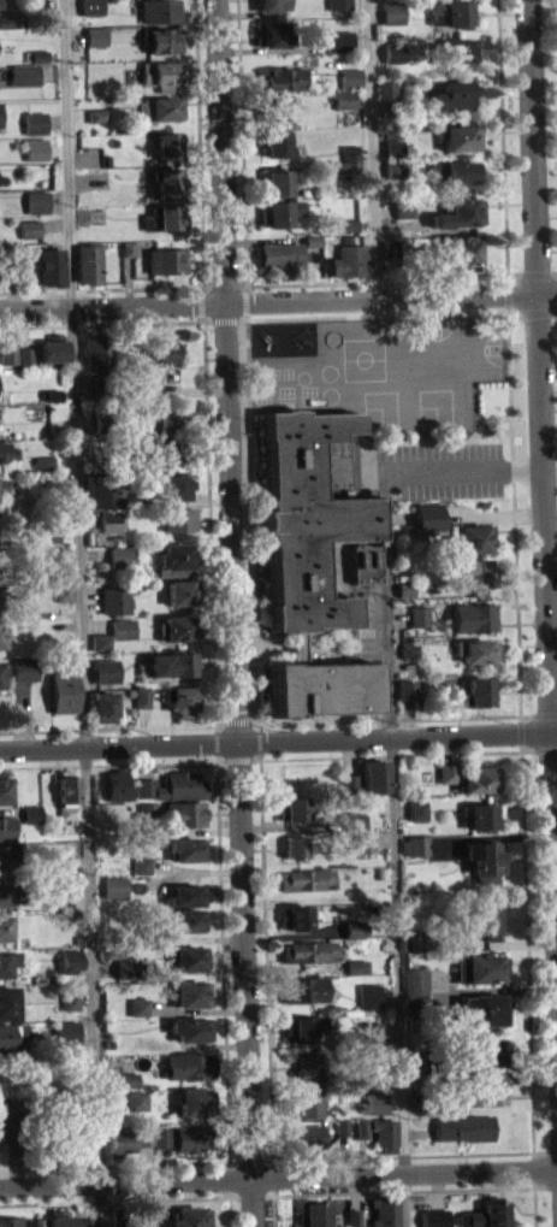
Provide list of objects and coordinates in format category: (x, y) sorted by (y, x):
building: (0, 4)
building: (267, 5)
building: (338, 5)
building: (90, 7)
building: (159, 11)
building: (391, 11)
building: (449, 12)
building: (5, 22)
building: (268, 34)
building: (95, 35)
building: (162, 40)
building: (338, 41)
building: (455, 49)
building: (392, 52)
building: (37, 55)
building: (37, 64)
building: (23, 73)
building: (159, 73)
building: (349, 77)
building: (278, 79)
building: (385, 88)
building: (450, 96)
building: (342, 98)
building: (269, 107)
building: (158, 108)
building: (96, 114)
building: (34, 122)
building: (95, 123)
building: (391, 131)
building: (457, 136)
building: (274, 143)
building: (167, 144)
road: (502, 144)
road: (371, 147)
building: (35, 148)
building: (391, 148)
road: (219, 149)
road: (239, 149)
building: (350, 157)
road: (197, 165)
building: (392, 169)
building: (455, 170)
building: (100, 178)
building: (275, 182)
building: (167, 183)
building: (36, 201)
building: (402, 207)
building: (275, 212)
building: (461, 212)
building: (402, 216)
building: (164, 218)
building: (346, 224)
building: (29, 228)
building: (348, 232)
building: (29, 236)
building: (309, 240)
building: (126, 248)
building: (387, 248)
building: (457, 252)
building: (13, 253)
building: (389, 256)
building: (278, 258)
building: (166, 260)
building: (348, 260)
building: (89, 264)
building: (51, 266)
road: (531, 276)
road: (375, 279)
road: (100, 289)
road: (390, 294)
road: (506, 302)
road: (111, 303)
road: (546, 311)
road: (200, 313)
road: (366, 317)
road: (100, 324)
building: (51, 348)
building: (166, 350)
building: (7, 353)
building: (24, 354)
building: (97, 354)
building: (7, 362)
building: (24, 364)
building: (150, 388)
building: (101, 389)
building: (49, 393)
building: (51, 402)
road: (484, 415)
building: (105, 420)
building: (166, 420)
road: (478, 420)
road: (438, 438)
building: (123, 446)
building: (6, 450)
road: (366, 452)
building: (170, 453)
building: (7, 461)
building: (42, 462)
building: (165, 462)
road: (460, 468)
parking lot: (411, 470)
road: (366, 471)
building: (43, 479)
building: (2, 484)
building: (174, 485)
building: (2, 492)
building: (101, 494)
road: (512, 500)
road: (540, 508)
building: (426, 518)
building: (179, 520)
road: (251, 520)
building: (109, 521)
road: (230, 521)
building: (48, 531)
road: (211, 531)
building: (468, 537)
building: (49, 544)
building: (119, 558)
building: (174, 558)
building: (48, 561)
building: (314, 561)
building: (470, 571)
building: (61, 589)
building: (403, 589)
building: (182, 594)
building: (403, 597)
building: (63, 600)
building: (114, 600)
road: (81, 613)
building: (417, 615)
building: (472, 617)
parking lot: (366, 623)
road: (385, 627)
building: (122, 629)
building: (179, 629)
building: (2, 633)
building: (101, 642)
building: (408, 650)
building: (474, 650)
building: (57, 657)
building: (408, 659)
building: (172, 665)
building: (23, 667)
building: (1, 669)
building: (106, 669)
building: (1, 683)
building: (404, 688)
building: (61, 690)
building: (476, 692)
building: (140, 696)
building: (180, 701)
building: (103, 707)
road: (551, 713)
road: (467, 716)
road: (324, 720)
road: (248, 722)
road: (107, 727)
road: (397, 736)
road: (118, 743)
road: (552, 749)
road: (534, 750)
road: (390, 755)
road: (249, 759)
road: (227, 760)
road: (107, 763)
building: (448, 773)
building: (373, 775)
building: (479, 779)
building: (348, 783)
building: (117, 785)
building: (171, 786)
building: (6, 790)
building: (67, 794)
building: (292, 809)
building: (416, 810)
building: (147, 812)
building: (31, 813)
building: (184, 813)
building: (480, 815)
building: (352, 820)
building: (30, 821)
building: (148, 824)
building: (5, 826)
building: (352, 828)
building: (361, 840)
building: (414, 844)
building: (297, 846)
building: (186, 848)
building: (6, 855)
building: (482, 860)
building: (141, 865)
building: (61, 866)
building: (141, 873)
building: (61, 877)
building: (304, 879)
building: (114, 886)
building: (61, 891)
building: (4, 893)
building: (185, 895)
building: (295, 916)
building: (189, 919)
building: (484, 919)
building: (4, 927)
building: (354, 928)
road: (527, 932)
building: (156, 933)
building: (410, 940)
road: (221, 942)
building: (309, 951)
building: (188, 957)
road: (244, 960)
building: (7, 961)
road: (397, 963)
building: (356, 966)
road: (266, 967)
building: (491, 967)
building: (69, 968)
building: (125, 968)
building: (356, 974)
building: (414, 980)
building: (307, 989)
building: (191, 993)
building: (368, 996)
building: (70, 999)
building: (5, 1002)
building: (415, 1003)
building: (138, 1005)
building: (70, 1009)
building: (482, 1009)
building: (189, 1027)
building: (302, 1027)
building: (66, 1030)
building: (369, 1032)
building: (8, 1036)
building: (67, 1040)
building: (484, 1051)
building: (188, 1064)
building: (306, 1066)
building: (130, 1080)
building: (497, 1083)
building: (129, 1087)
building: (479, 1098)
building: (136, 1099)
building: (194, 1101)
building: (375, 1103)
building: (303, 1105)
building: (340, 1126)
building: (360, 1127)
building: (463, 1127)
building: (8, 1131)
building: (383, 1133)
building: (303, 1135)
building: (144, 1137)
building: (161, 1137)
building: (191, 1138)
building: (118, 1143)
road: (545, 1150)
road: (420, 1155)
road: (135, 1164)
road: (278, 1176)
road: (229, 1179)
road: (545, 1185)
road: (403, 1191)
road: (251, 1196)
road: (114, 1199)
road: (404, 1199)
road: (253, 1202)
road: (534, 1207)
road: (273, 1210)
building: (384, 1210)
road: (230, 1211)
building: (312, 1214)
building: (486, 1214)
building: (188, 1216)
building: (352, 1217)
building: (433, 1217)
building: (59, 1219)
building: (13, 1221)
building: (84, 1221)

